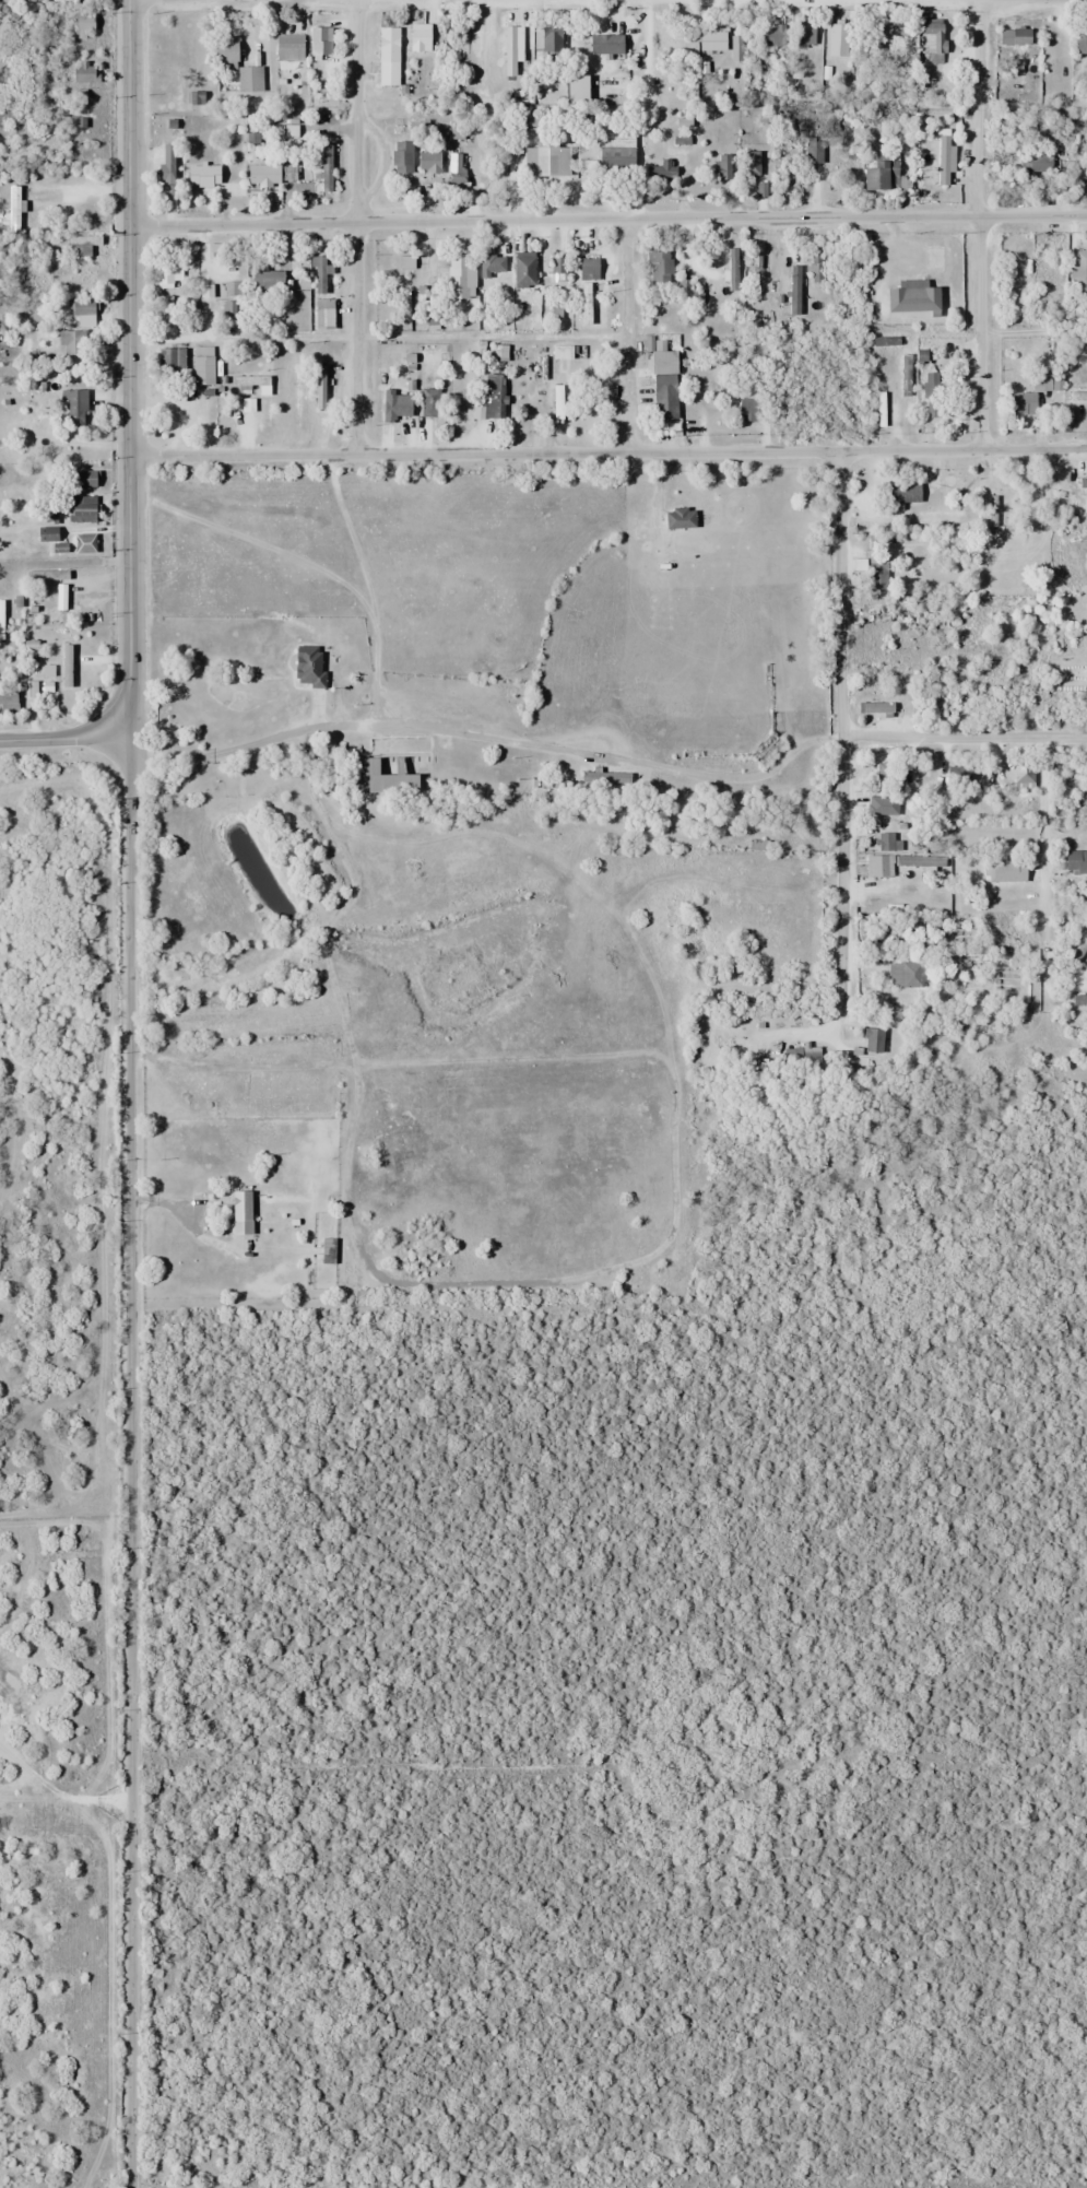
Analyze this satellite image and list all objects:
building: (82, 24)
building: (803, 34)
building: (771, 36)
building: (872, 36)
building: (1014, 36)
building: (417, 38)
building: (546, 38)
building: (836, 39)
building: (318, 40)
building: (710, 40)
building: (932, 42)
building: (1080, 42)
building: (604, 45)
building: (287, 48)
building: (735, 48)
building: (223, 49)
building: (1051, 50)
building: (509, 51)
building: (387, 56)
building: (249, 79)
building: (300, 127)
building: (618, 150)
building: (401, 157)
building: (541, 157)
building: (942, 161)
building: (1031, 163)
building: (324, 166)
building: (454, 167)
building: (721, 167)
building: (166, 168)
building: (661, 170)
building: (879, 174)
building: (261, 175)
building: (202, 176)
building: (12, 208)
road: (609, 221)
road: (978, 224)
road: (358, 226)
building: (78, 244)
building: (815, 262)
building: (1077, 263)
building: (491, 264)
building: (659, 267)
building: (587, 268)
building: (522, 269)
building: (557, 269)
building: (731, 270)
building: (166, 274)
building: (317, 275)
building: (459, 275)
building: (267, 280)
building: (792, 290)
building: (910, 297)
building: (80, 307)
building: (322, 314)
road: (626, 336)
building: (70, 342)
building: (170, 360)
road: (130, 363)
building: (201, 365)
building: (1048, 381)
building: (662, 386)
building: (323, 388)
building: (932, 396)
building: (493, 397)
building: (1077, 397)
building: (556, 402)
building: (748, 402)
building: (428, 403)
building: (1019, 403)
building: (392, 407)
building: (72, 408)
road: (609, 451)
building: (82, 480)
building: (1082, 483)
building: (902, 493)
building: (80, 509)
building: (678, 518)
building: (83, 543)
building: (876, 573)
building: (306, 667)
road: (840, 695)
building: (7, 699)
building: (876, 707)
road: (57, 736)
road: (964, 736)
building: (1021, 773)
building: (382, 774)
building: (604, 776)
building: (956, 776)
building: (889, 779)
building: (884, 842)
building: (1075, 860)
building: (878, 866)
building: (1004, 871)
building: (910, 974)
building: (871, 1039)
building: (240, 1212)
building: (327, 1250)
road: (132, 1452)

